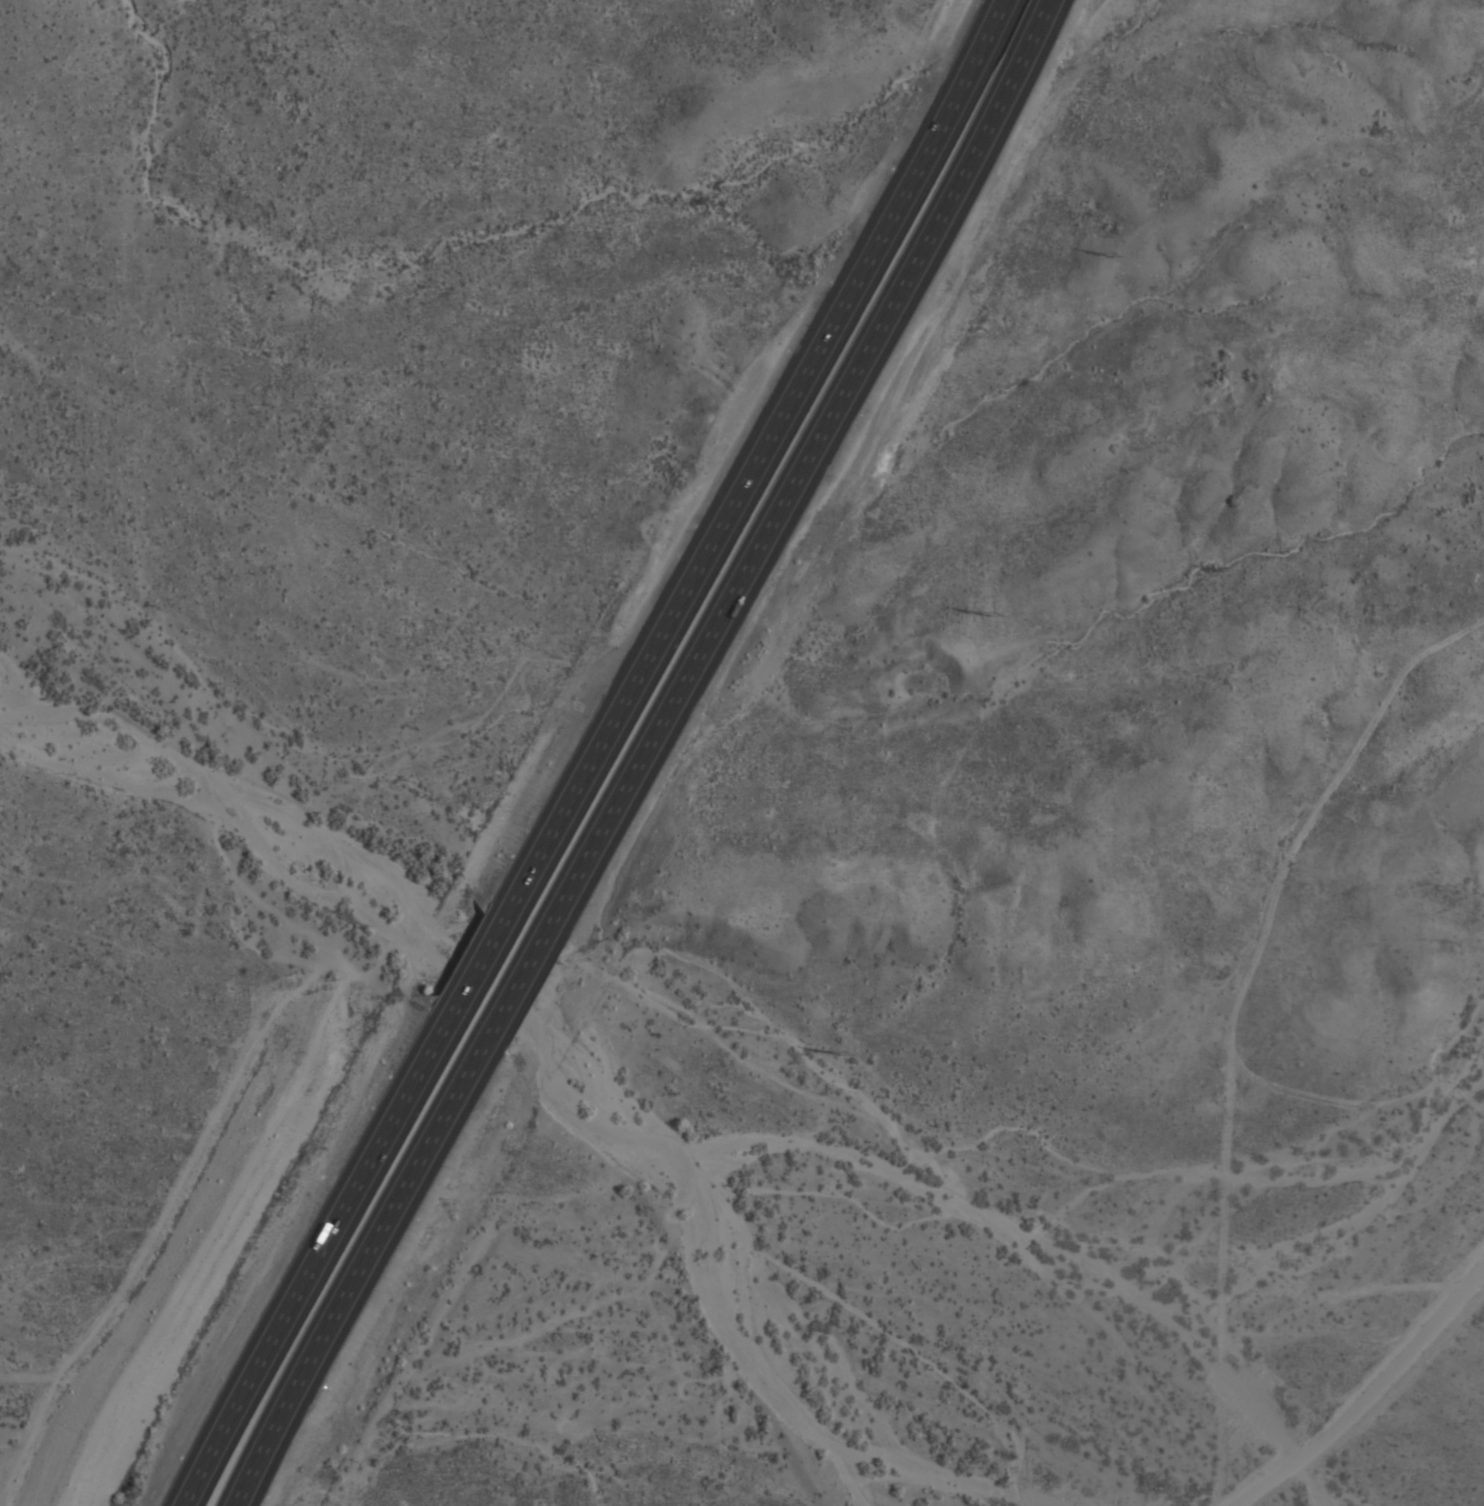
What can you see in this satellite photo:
road: (759, 455)
road: (807, 474)
road: (483, 951)
road: (524, 986)
road: (319, 1254)
road: (364, 1269)
road: (1366, 1391)

